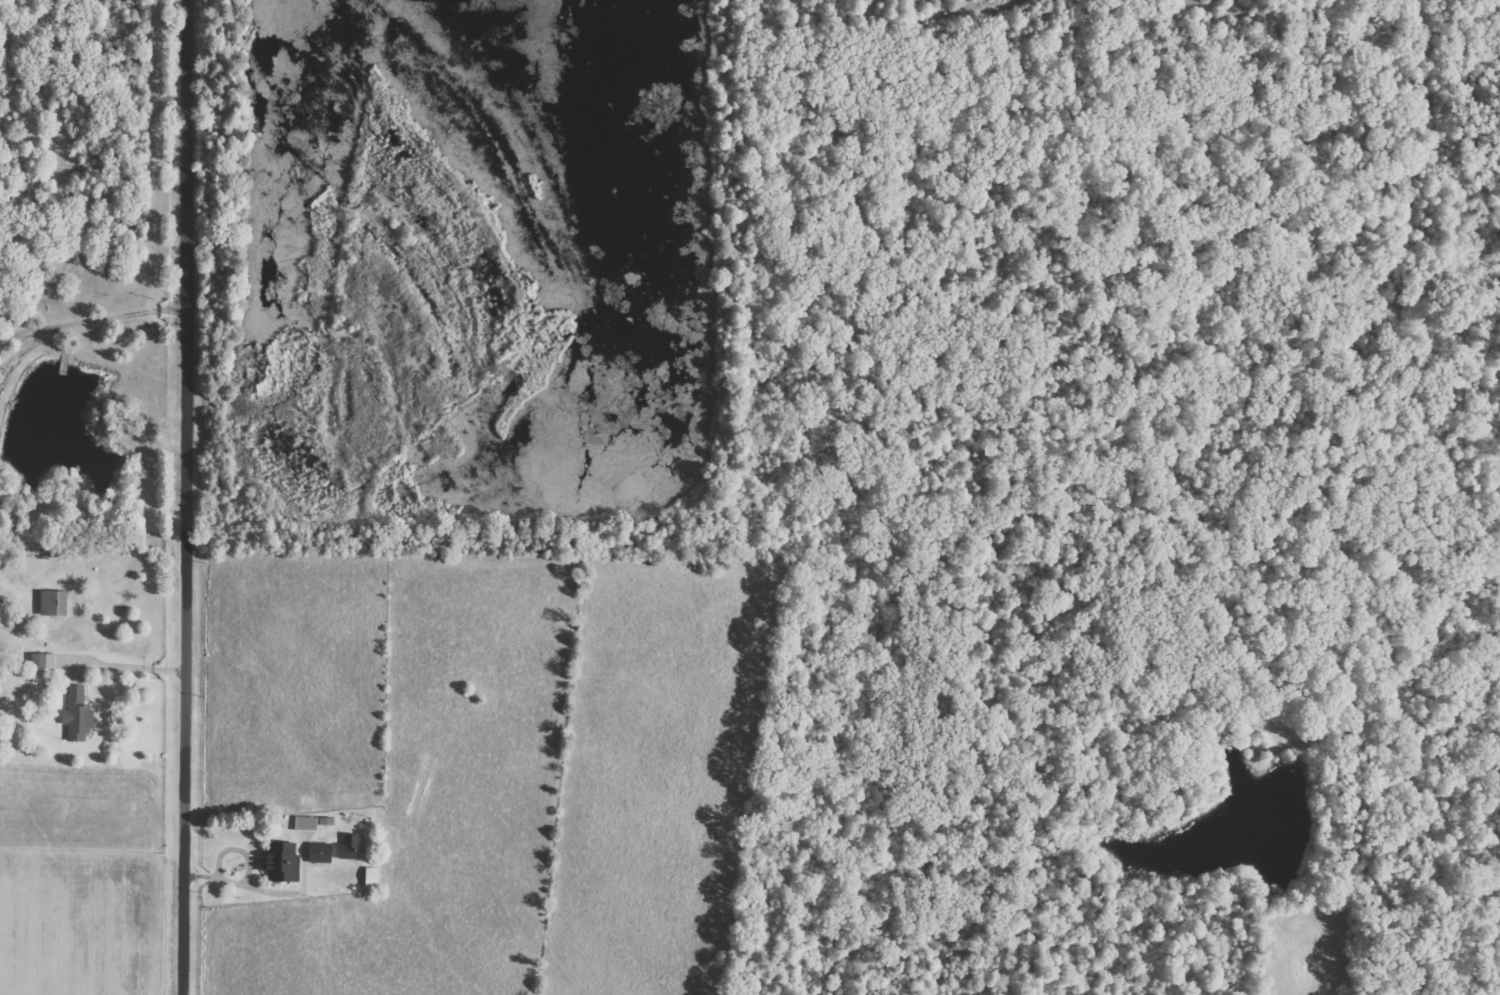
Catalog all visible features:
road: (91, 316)
road: (185, 497)
building: (54, 602)
building: (43, 660)
road: (135, 662)
building: (78, 715)
building: (326, 820)
building: (306, 823)
building: (350, 845)
building: (321, 852)
building: (282, 861)
building: (373, 876)

